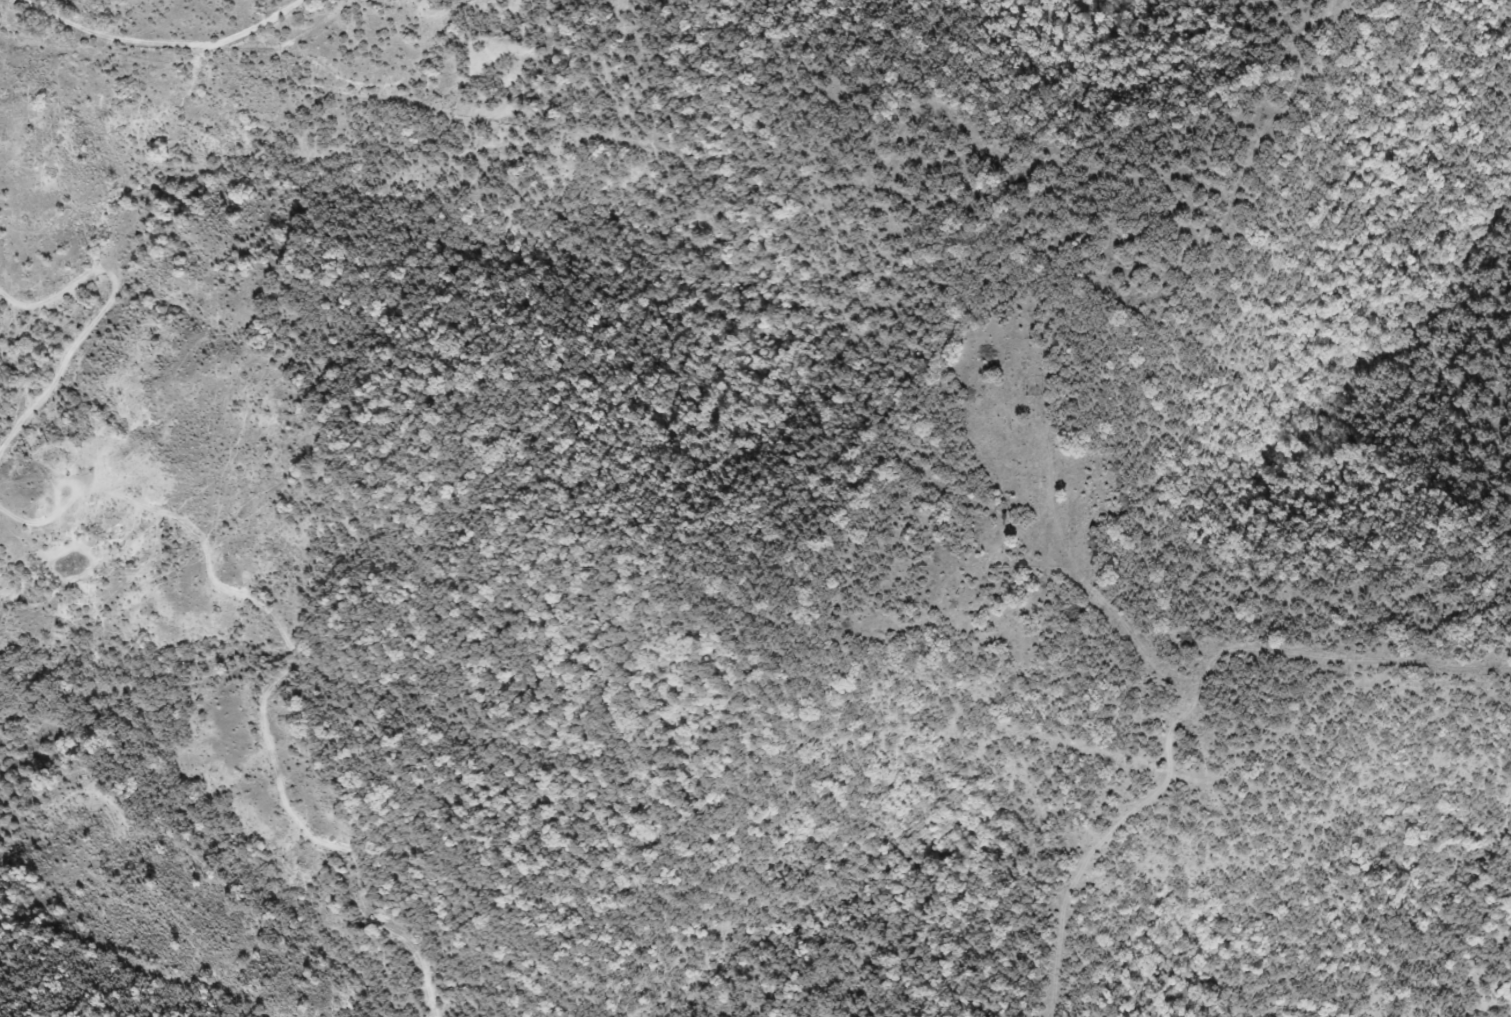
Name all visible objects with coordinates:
road: (103, 330)
road: (1, 522)

